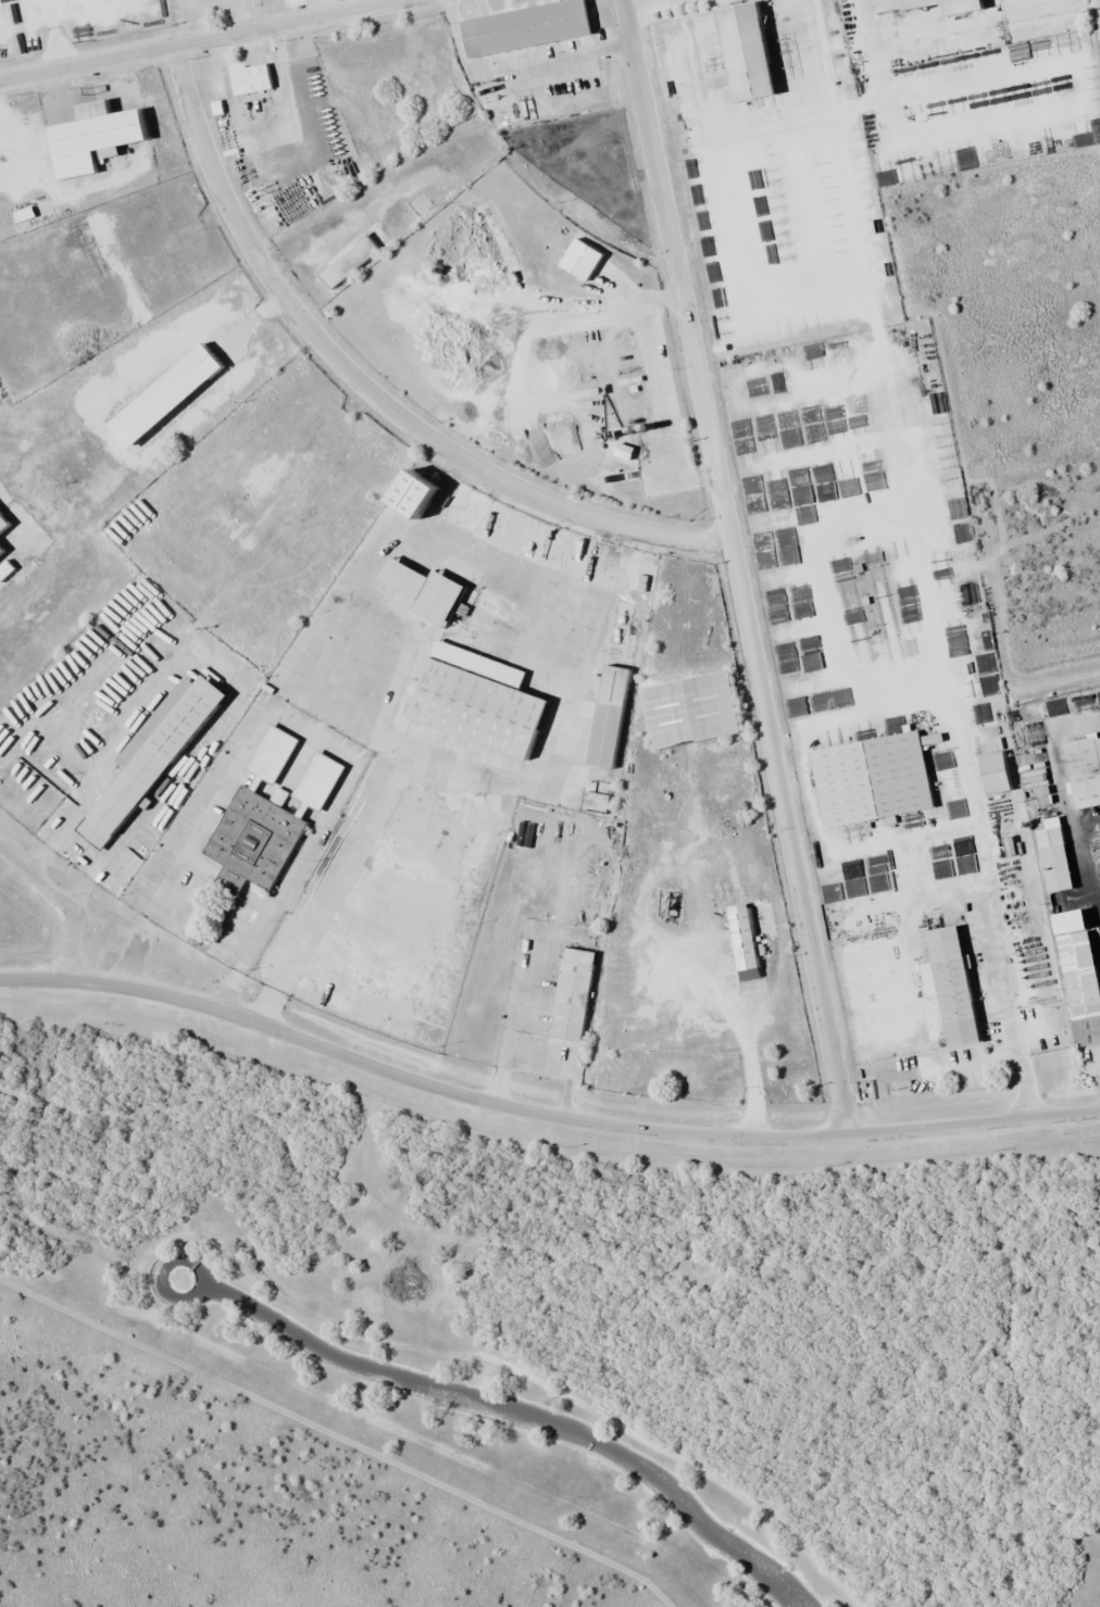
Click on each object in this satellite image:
building: (940, 0)
building: (533, 26)
road: (198, 39)
building: (254, 78)
building: (101, 136)
road: (365, 390)
building: (907, 406)
building: (432, 493)
building: (4, 530)
road: (734, 568)
building: (433, 590)
building: (487, 701)
building: (687, 710)
building: (605, 717)
building: (157, 757)
building: (1087, 775)
building: (868, 778)
road: (1062, 794)
building: (271, 816)
building: (1050, 859)
road: (57, 906)
building: (738, 937)
building: (1077, 978)
building: (947, 985)
building: (567, 997)
road: (541, 1112)

